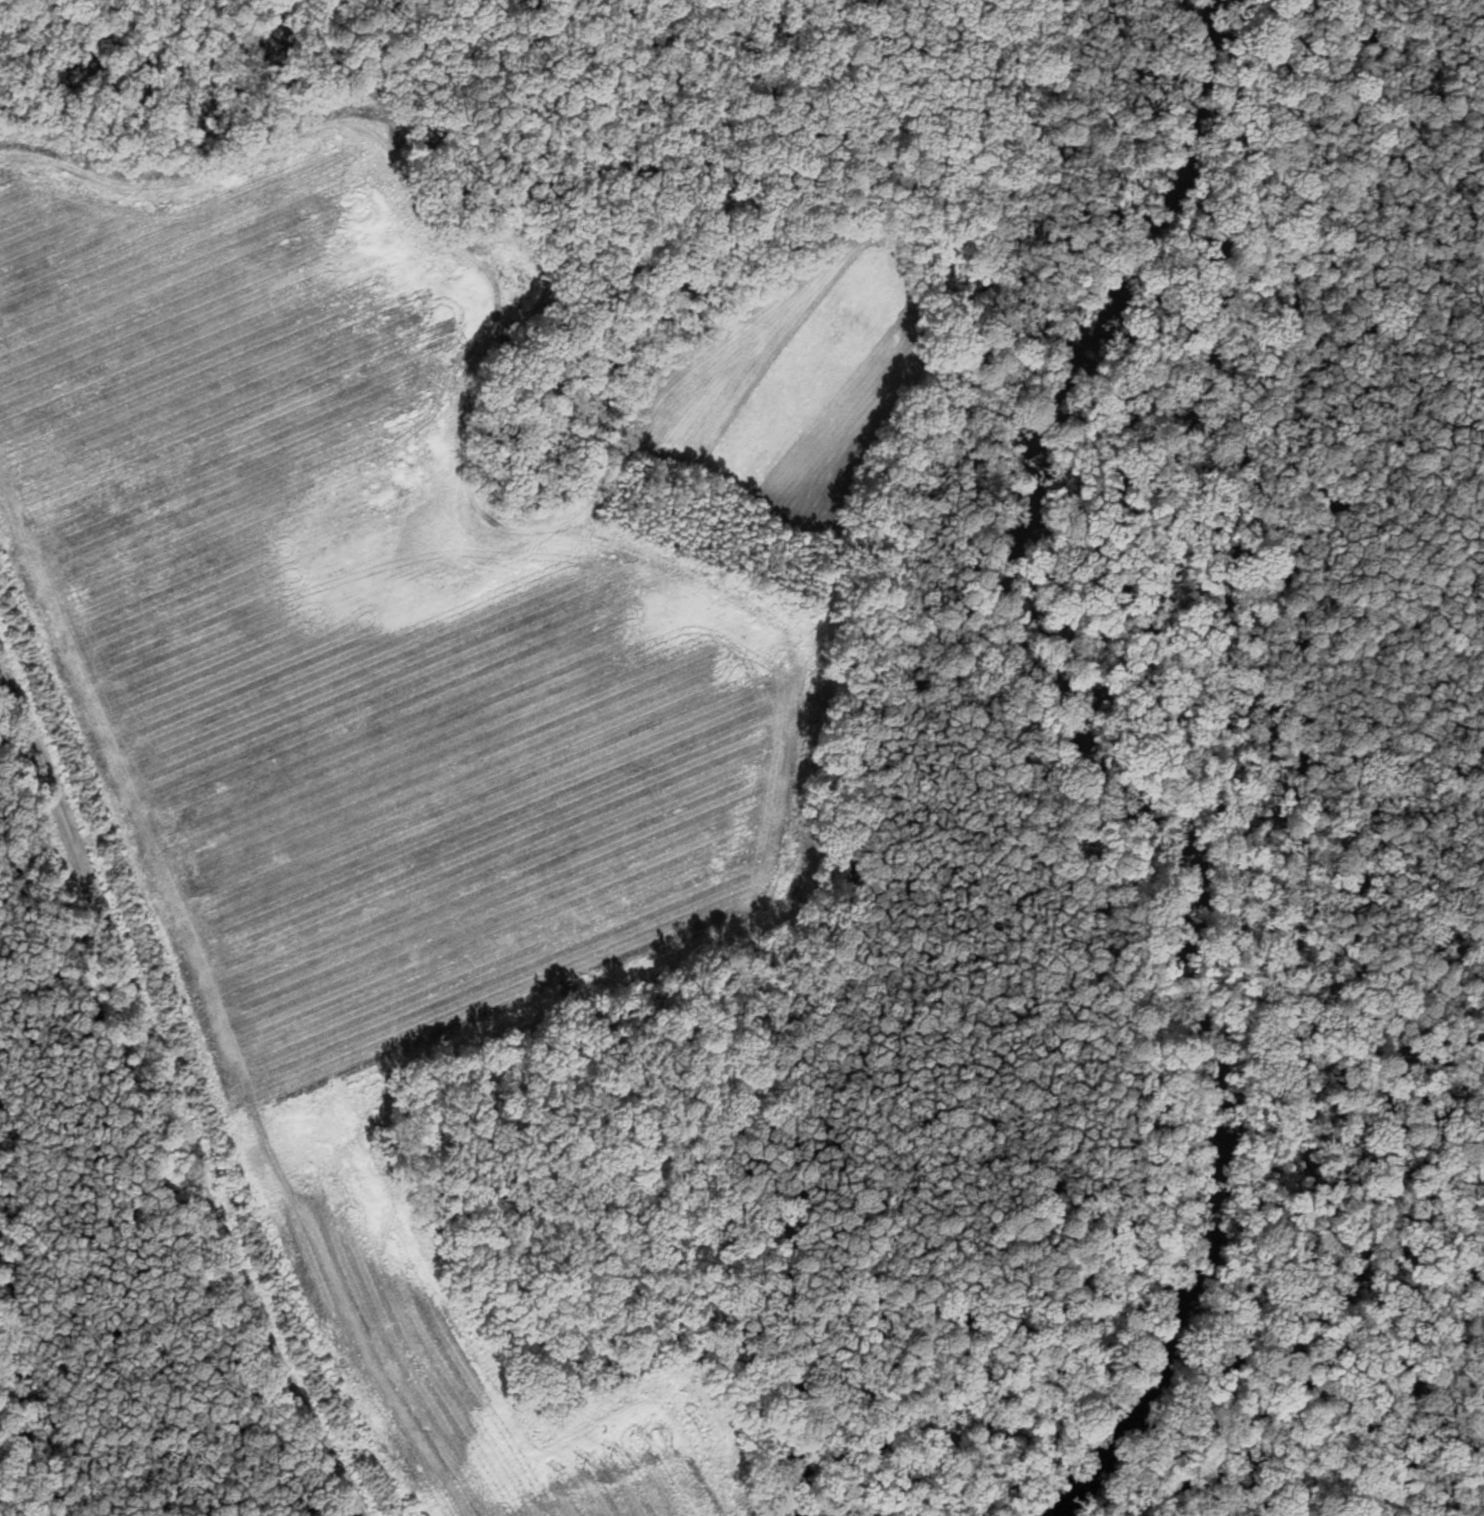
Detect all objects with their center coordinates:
road: (191, 1087)

